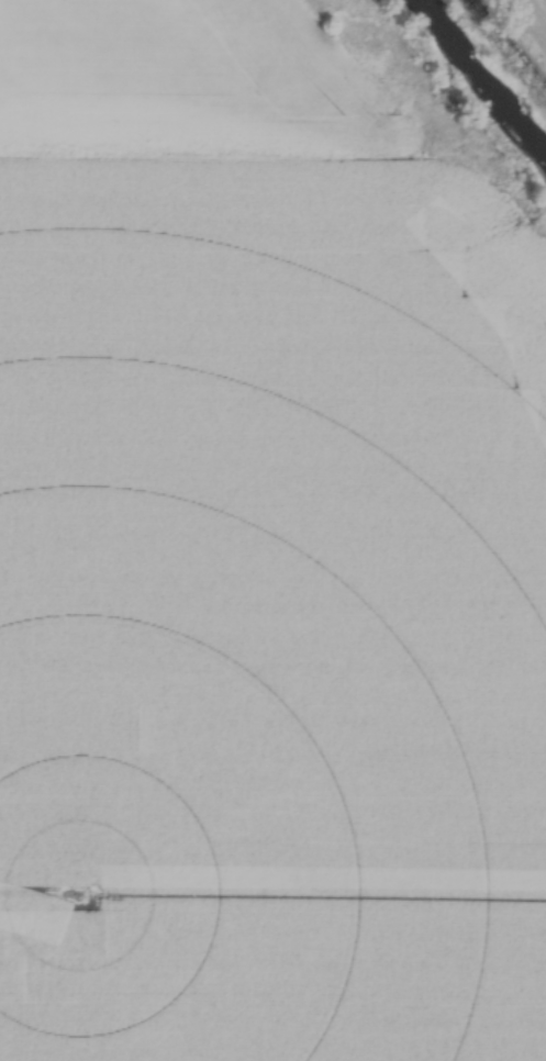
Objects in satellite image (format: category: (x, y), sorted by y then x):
river: (483, 79)

